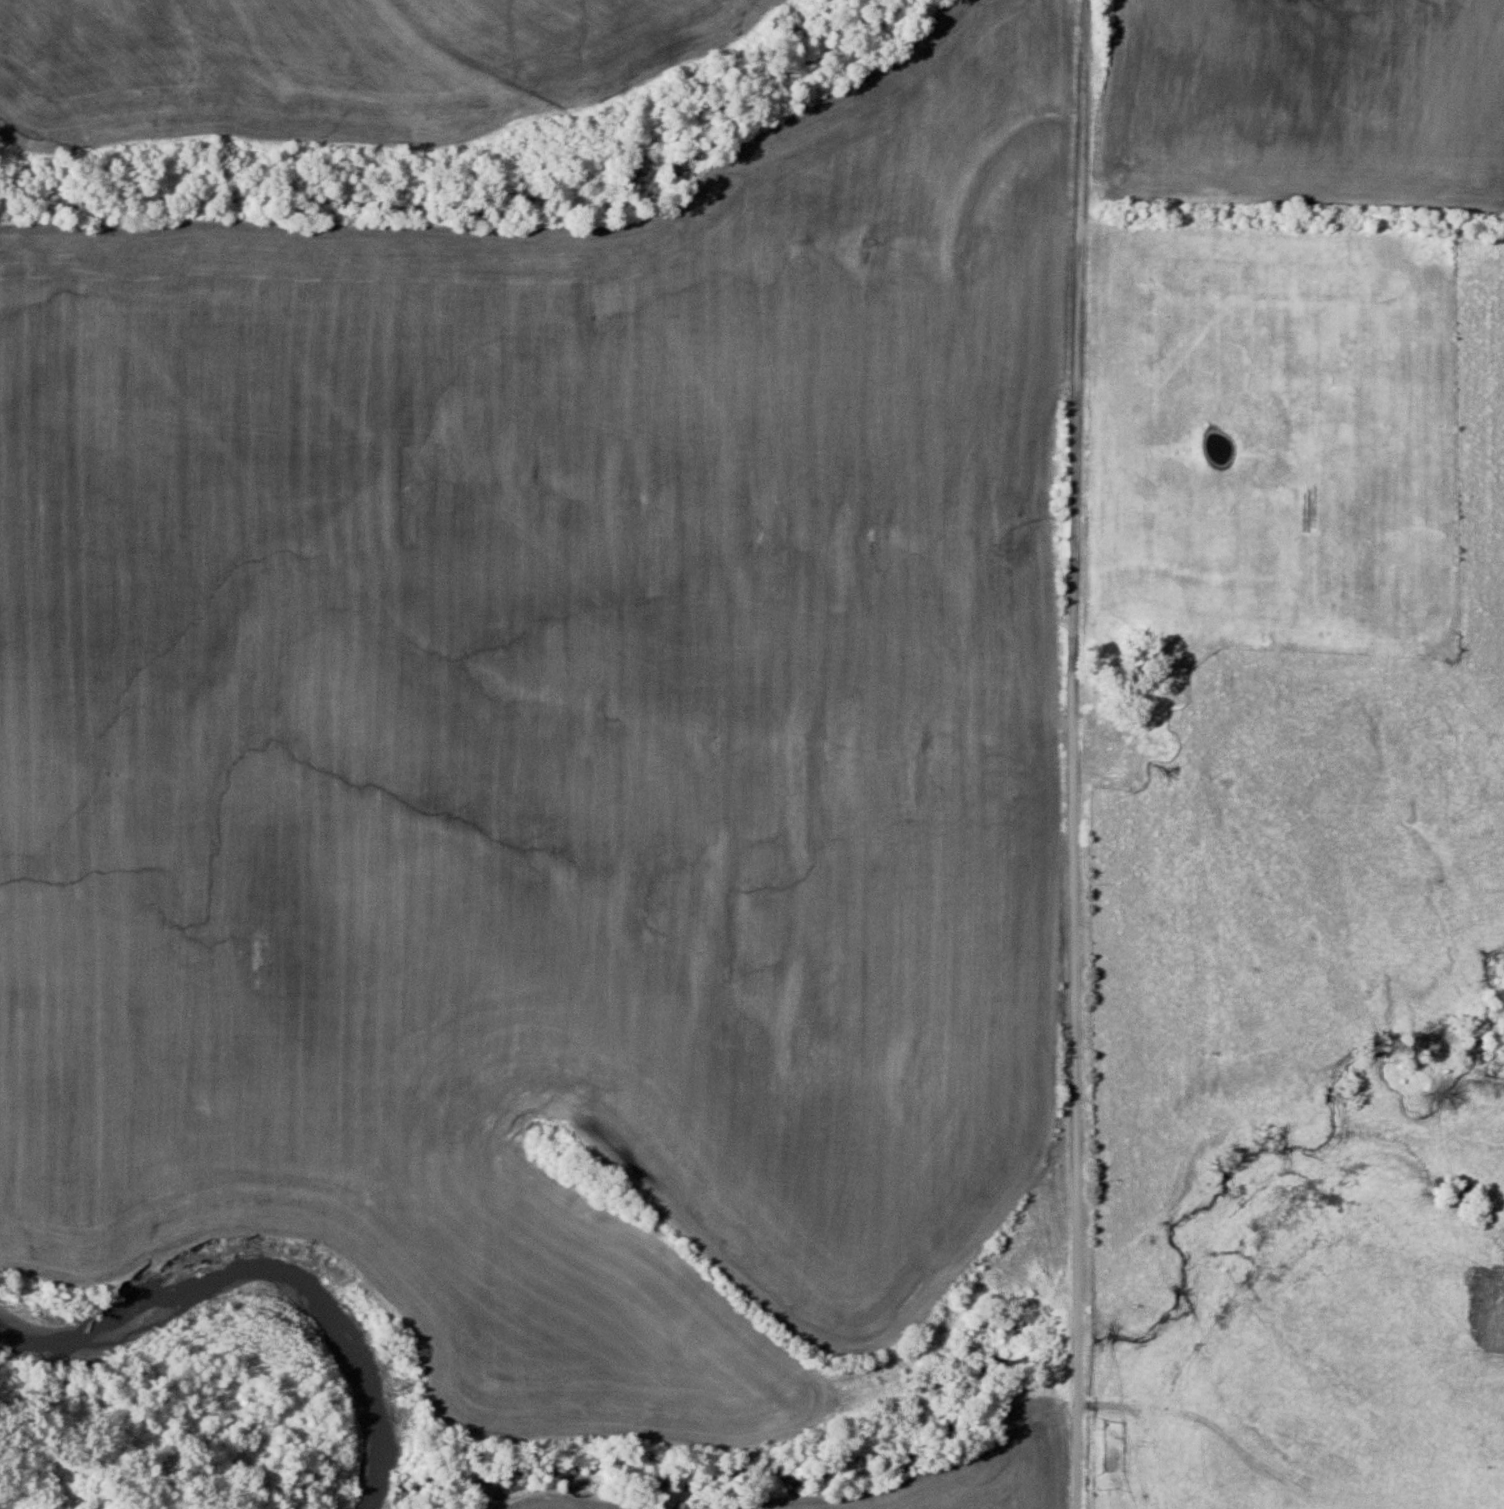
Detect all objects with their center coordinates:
road: (1072, 754)

